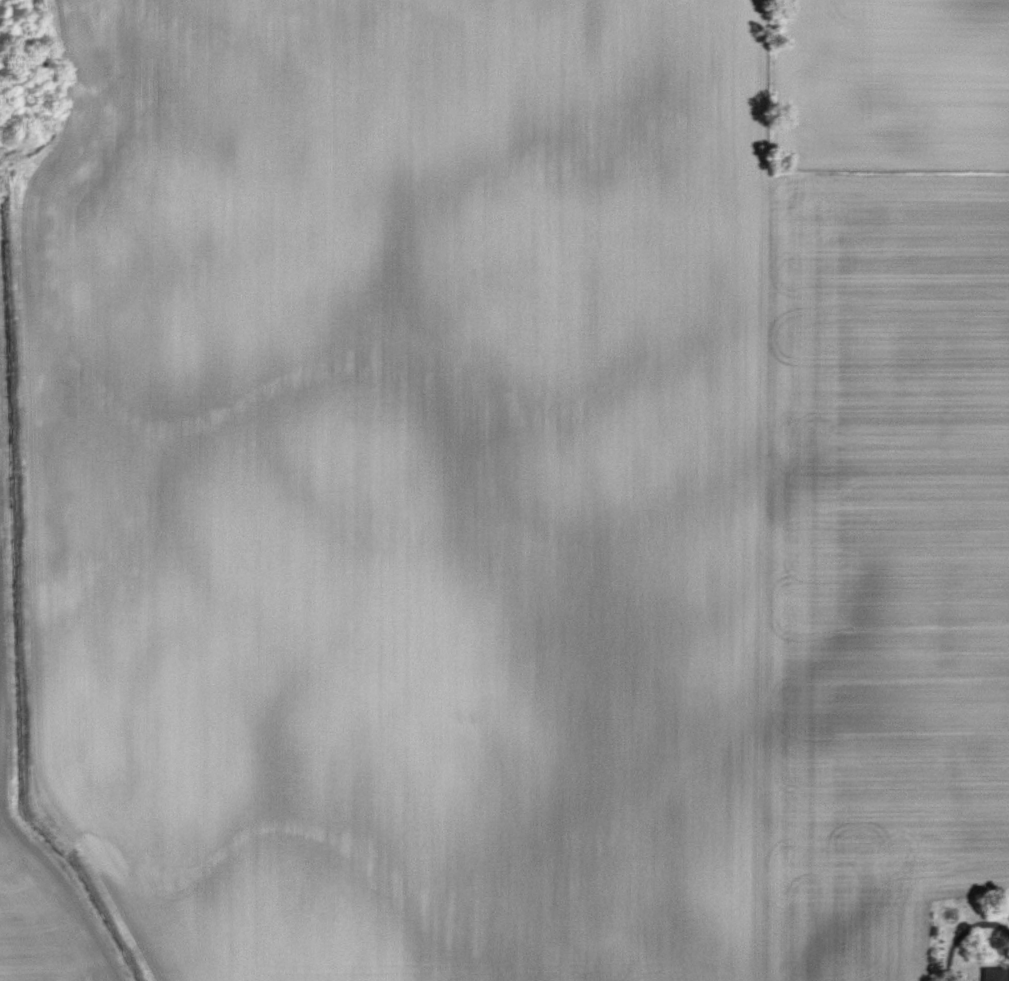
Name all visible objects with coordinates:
building: (992, 974)

